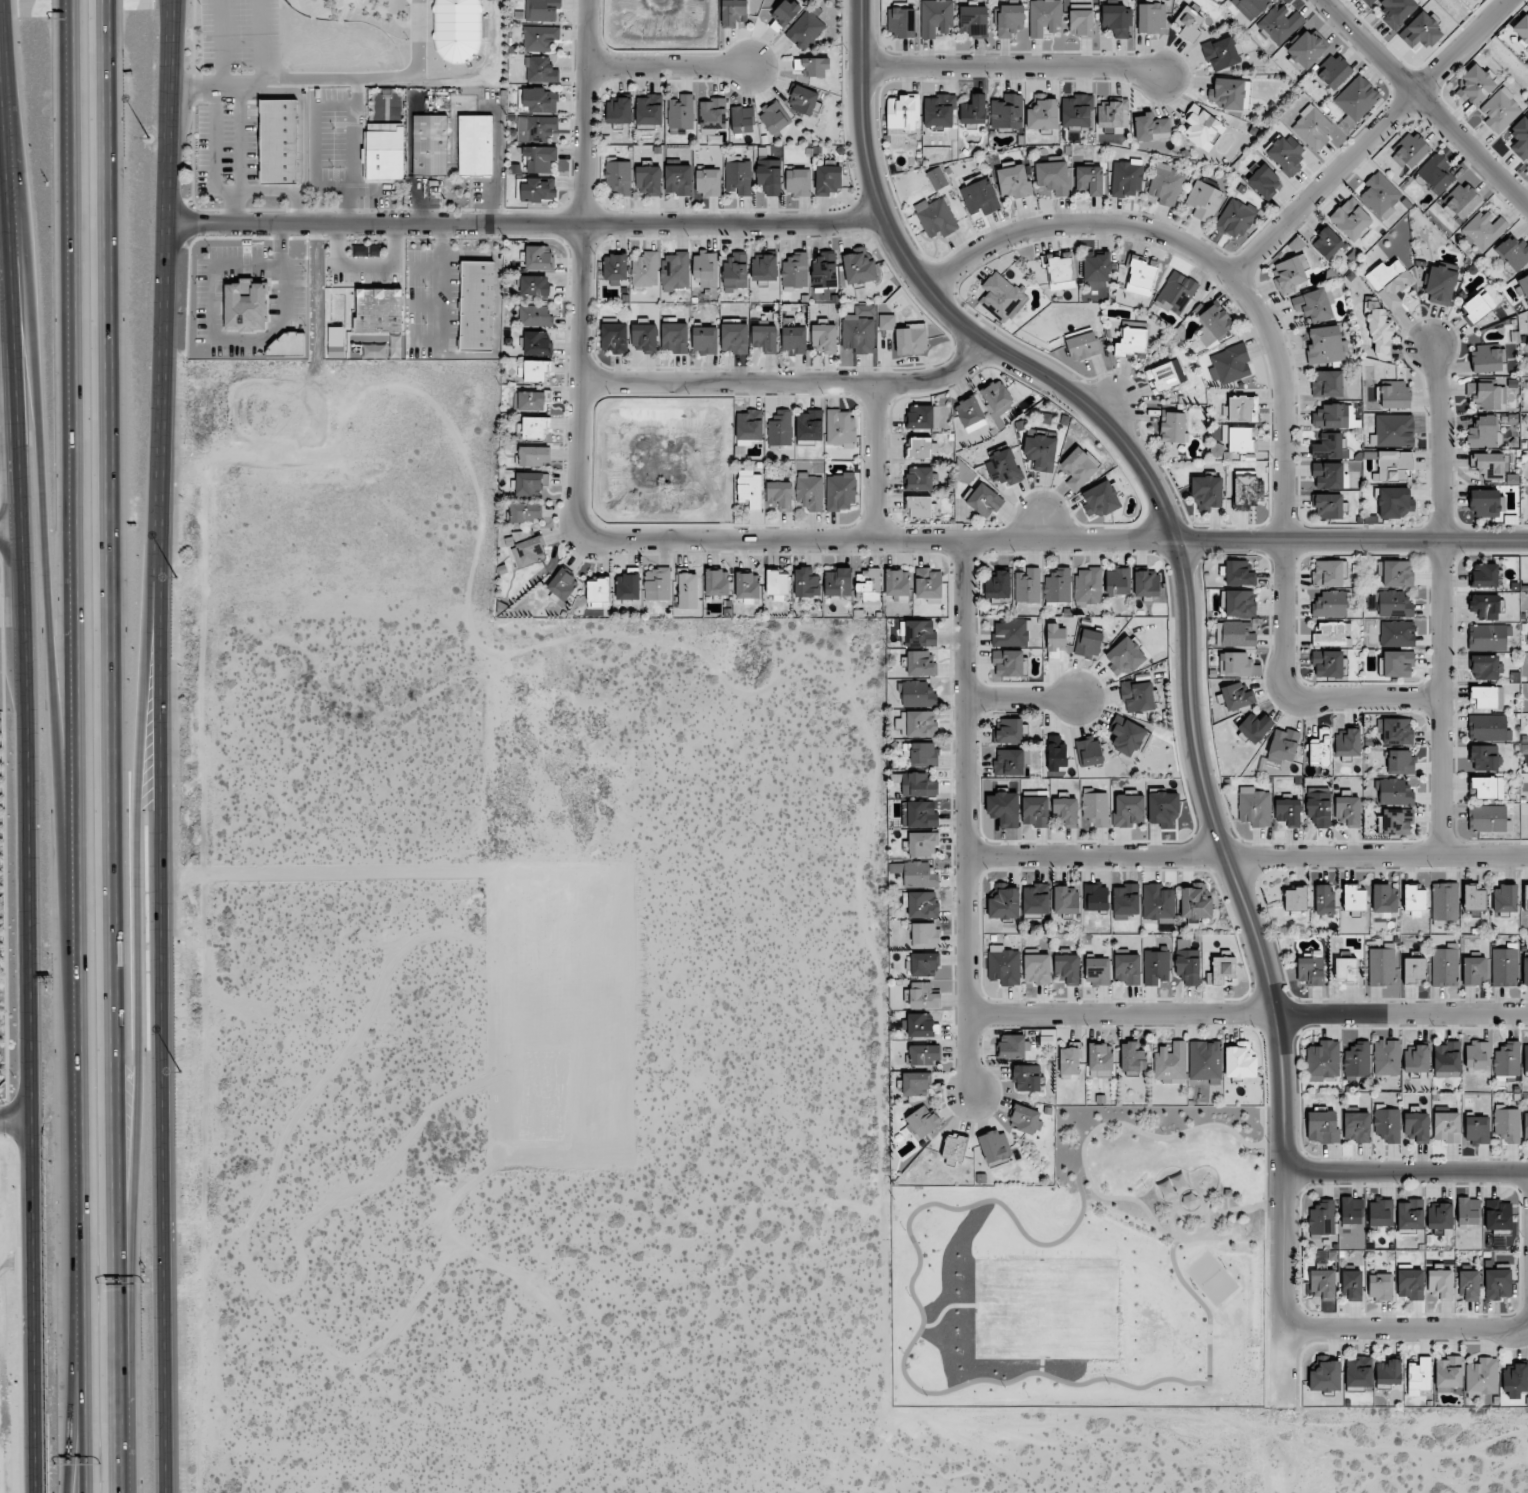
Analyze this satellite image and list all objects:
building: (1366, 1)
building: (1250, 7)
building: (541, 10)
building: (1397, 10)
building: (733, 12)
building: (784, 14)
building: (935, 17)
building: (1044, 17)
building: (1151, 17)
building: (1010, 20)
building: (1117, 20)
building: (1081, 21)
building: (900, 22)
building: (1189, 23)
building: (1280, 23)
building: (805, 29)
building: (1522, 29)
building: (1421, 30)
building: (457, 31)
building: (539, 38)
road: (258, 41)
building: (1306, 48)
building: (1220, 53)
road: (1012, 65)
building: (812, 66)
building: (540, 70)
road: (671, 70)
building: (1334, 71)
road: (377, 77)
road: (215, 84)
building: (1474, 86)
building: (1227, 93)
building: (1356, 99)
building: (539, 100)
building: (802, 100)
road: (1420, 104)
building: (649, 109)
building: (973, 110)
building: (1499, 110)
building: (619, 111)
building: (939, 111)
building: (1076, 111)
building: (681, 112)
building: (1006, 113)
building: (712, 114)
building: (1113, 114)
building: (1042, 115)
building: (774, 117)
building: (901, 118)
building: (742, 119)
building: (536, 127)
building: (1150, 127)
building: (1201, 127)
building: (1312, 127)
road: (1366, 136)
building: (1520, 137)
building: (278, 141)
building: (430, 145)
building: (475, 145)
building: (1411, 150)
building: (384, 154)
building: (1285, 154)
building: (539, 158)
road: (214, 159)
building: (1435, 173)
building: (769, 176)
building: (618, 177)
building: (738, 177)
building: (1052, 177)
building: (937, 178)
building: (1126, 178)
building: (678, 179)
building: (1089, 179)
building: (648, 180)
building: (828, 180)
building: (707, 181)
building: (798, 182)
building: (1013, 182)
building: (1264, 182)
building: (1166, 184)
building: (538, 189)
building: (1380, 194)
building: (979, 197)
building: (1203, 201)
building: (1460, 201)
building: (935, 217)
building: (1235, 218)
building: (1350, 219)
road: (522, 227)
building: (1483, 229)
building: (1328, 245)
building: (366, 250)
building: (1513, 253)
road: (7, 255)
building: (539, 257)
road: (583, 262)
building: (1290, 266)
building: (615, 267)
building: (763, 267)
building: (858, 267)
building: (1060, 268)
building: (1096, 268)
building: (645, 269)
building: (705, 269)
building: (675, 270)
building: (824, 270)
building: (735, 272)
building: (1141, 276)
building: (1389, 282)
building: (1440, 283)
building: (535, 286)
building: (1522, 287)
building: (1176, 292)
building: (1001, 297)
building: (1314, 304)
building: (477, 306)
building: (1477, 306)
building: (245, 307)
building: (378, 310)
building: (535, 315)
road: (1261, 316)
building: (886, 322)
building: (1214, 325)
building: (858, 330)
building: (1379, 333)
building: (643, 336)
building: (734, 336)
building: (614, 337)
building: (674, 337)
building: (823, 337)
building: (765, 338)
building: (704, 339)
building: (911, 339)
building: (793, 340)
building: (336, 341)
building: (1132, 342)
building: (537, 343)
building: (1081, 344)
building: (285, 345)
building: (1325, 345)
building: (1486, 358)
building: (1230, 364)
building: (535, 370)
building: (1165, 375)
building: (1327, 383)
road: (792, 384)
building: (1393, 395)
building: (1484, 395)
building: (996, 399)
building: (530, 400)
building: (1242, 408)
building: (970, 414)
building: (1334, 416)
building: (922, 417)
building: (809, 425)
building: (534, 427)
building: (749, 427)
building: (780, 427)
building: (840, 427)
building: (1173, 427)
building: (1394, 430)
building: (1482, 432)
building: (1242, 439)
building: (1329, 446)
building: (921, 448)
building: (1040, 452)
building: (532, 455)
road: (870, 460)
building: (1490, 465)
building: (1393, 466)
building: (1003, 467)
building: (1079, 467)
building: (1327, 475)
building: (919, 478)
building: (530, 482)
building: (749, 488)
building: (809, 491)
building: (840, 492)
building: (1247, 492)
building: (1206, 493)
building: (779, 494)
building: (1100, 499)
building: (984, 501)
road: (45, 503)
building: (1485, 503)
building: (919, 506)
building: (1327, 506)
building: (524, 512)
road: (12, 513)
road: (12, 537)
road: (1057, 539)
building: (529, 551)
road: (25, 559)
building: (1238, 573)
building: (1328, 573)
building: (1397, 574)
building: (1484, 575)
building: (837, 582)
building: (1117, 582)
building: (716, 583)
building: (806, 583)
building: (897, 583)
building: (927, 583)
building: (1146, 583)
building: (562, 584)
building: (657, 584)
building: (777, 585)
building: (867, 585)
building: (998, 585)
building: (1027, 585)
building: (1057, 585)
building: (746, 586)
building: (1088, 586)
building: (627, 587)
building: (687, 589)
road: (1440, 600)
building: (1239, 603)
building: (1330, 604)
building: (1394, 604)
building: (1484, 606)
building: (918, 632)
building: (1010, 632)
building: (1235, 633)
building: (1397, 633)
building: (1331, 634)
building: (1486, 637)
building: (1055, 639)
building: (1088, 643)
road: (1180, 647)
building: (1124, 656)
building: (920, 663)
building: (1007, 663)
building: (1327, 663)
building: (1396, 663)
building: (1234, 664)
building: (1485, 667)
building: (916, 693)
building: (1137, 695)
building: (1236, 696)
building: (1486, 697)
road: (1021, 699)
road: (1366, 699)
building: (916, 723)
building: (1254, 727)
building: (1486, 727)
building: (1009, 731)
building: (1397, 731)
building: (1126, 735)
building: (1347, 742)
building: (1283, 745)
road: (71, 746)
road: (113, 746)
road: (160, 746)
building: (1320, 748)
building: (1088, 752)
building: (1056, 753)
building: (922, 754)
building: (1484, 757)
building: (1008, 762)
building: (1400, 762)
building: (918, 785)
building: (1487, 787)
building: (1395, 792)
building: (1318, 806)
building: (1254, 807)
building: (1095, 808)
building: (1003, 809)
building: (1128, 809)
building: (1163, 809)
building: (1035, 811)
building: (1288, 811)
building: (1066, 813)
building: (919, 814)
road: (966, 816)
building: (1487, 818)
building: (1397, 821)
building: (922, 844)
road: (1247, 854)
building: (919, 874)
building: (1095, 896)
building: (1474, 896)
building: (1353, 898)
building: (1383, 898)
building: (1504, 898)
building: (1036, 899)
building: (1324, 899)
building: (1065, 900)
building: (1295, 900)
building: (1125, 901)
building: (1414, 901)
building: (1444, 901)
building: (1158, 902)
building: (1195, 902)
building: (1003, 903)
building: (922, 904)
building: (924, 935)
building: (1222, 954)
building: (924, 964)
building: (1003, 965)
building: (1155, 966)
building: (1187, 966)
building: (1444, 966)
building: (1381, 967)
building: (1504, 967)
building: (1036, 968)
building: (1066, 968)
building: (1126, 968)
building: (1413, 969)
building: (1221, 970)
building: (1345, 970)
building: (1525, 970)
road: (136, 971)
building: (1097, 971)
building: (1309, 971)
building: (1474, 971)
building: (923, 995)
road: (1247, 1011)
building: (921, 1026)
building: (922, 1054)
building: (1477, 1056)
building: (1132, 1057)
building: (1386, 1057)
building: (1416, 1058)
building: (1446, 1058)
building: (1506, 1058)
building: (1525, 1058)
building: (1069, 1059)
building: (1100, 1060)
building: (1240, 1060)
building: (1323, 1060)
building: (1357, 1060)
building: (1205, 1061)
building: (1171, 1062)
building: (1026, 1077)
building: (916, 1084)
road: (14, 1119)
building: (1025, 1119)
building: (922, 1121)
building: (1387, 1124)
building: (1507, 1124)
building: (1525, 1126)
building: (1322, 1127)
building: (1356, 1127)
building: (1416, 1127)
building: (1446, 1127)
building: (1477, 1128)
building: (994, 1146)
building: (954, 1147)
road: (1087, 1171)
road: (1406, 1171)
building: (1351, 1210)
building: (1468, 1210)
building: (1380, 1213)
road: (1207, 1214)
building: (1410, 1214)
building: (1497, 1215)
building: (1439, 1216)
building: (1322, 1217)
road: (1173, 1221)
park: (1098, 1273)
building: (1497, 1283)
building: (1322, 1284)
building: (1410, 1284)
building: (1352, 1285)
building: (1440, 1285)
building: (1468, 1285)
building: (1380, 1286)
road: (31, 1305)
road: (1406, 1327)
building: (1358, 1372)
building: (1388, 1372)
building: (1448, 1373)
building: (1324, 1375)
building: (1418, 1376)
building: (1482, 1376)
road: (67, 1377)
building: (1515, 1380)
road: (921, 1391)

